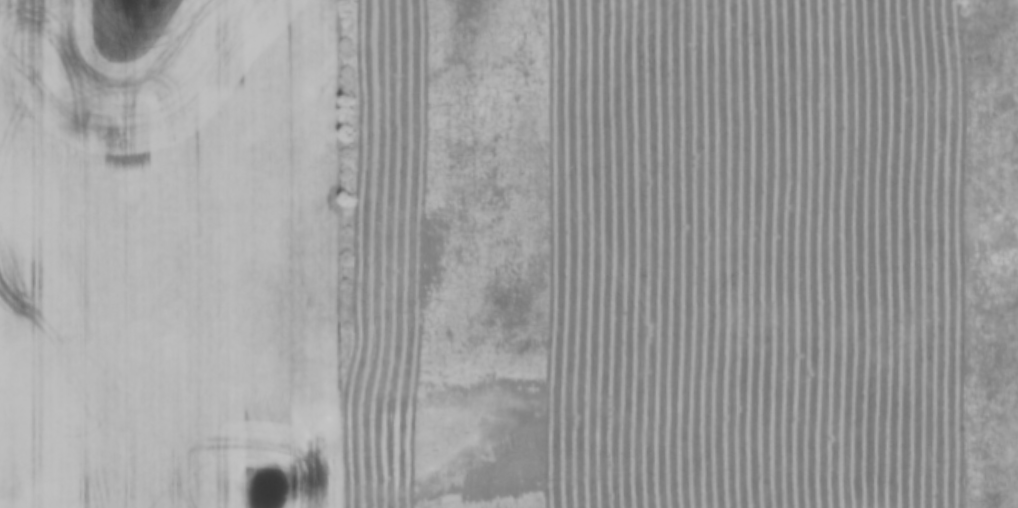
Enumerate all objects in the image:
road: (966, 253)

